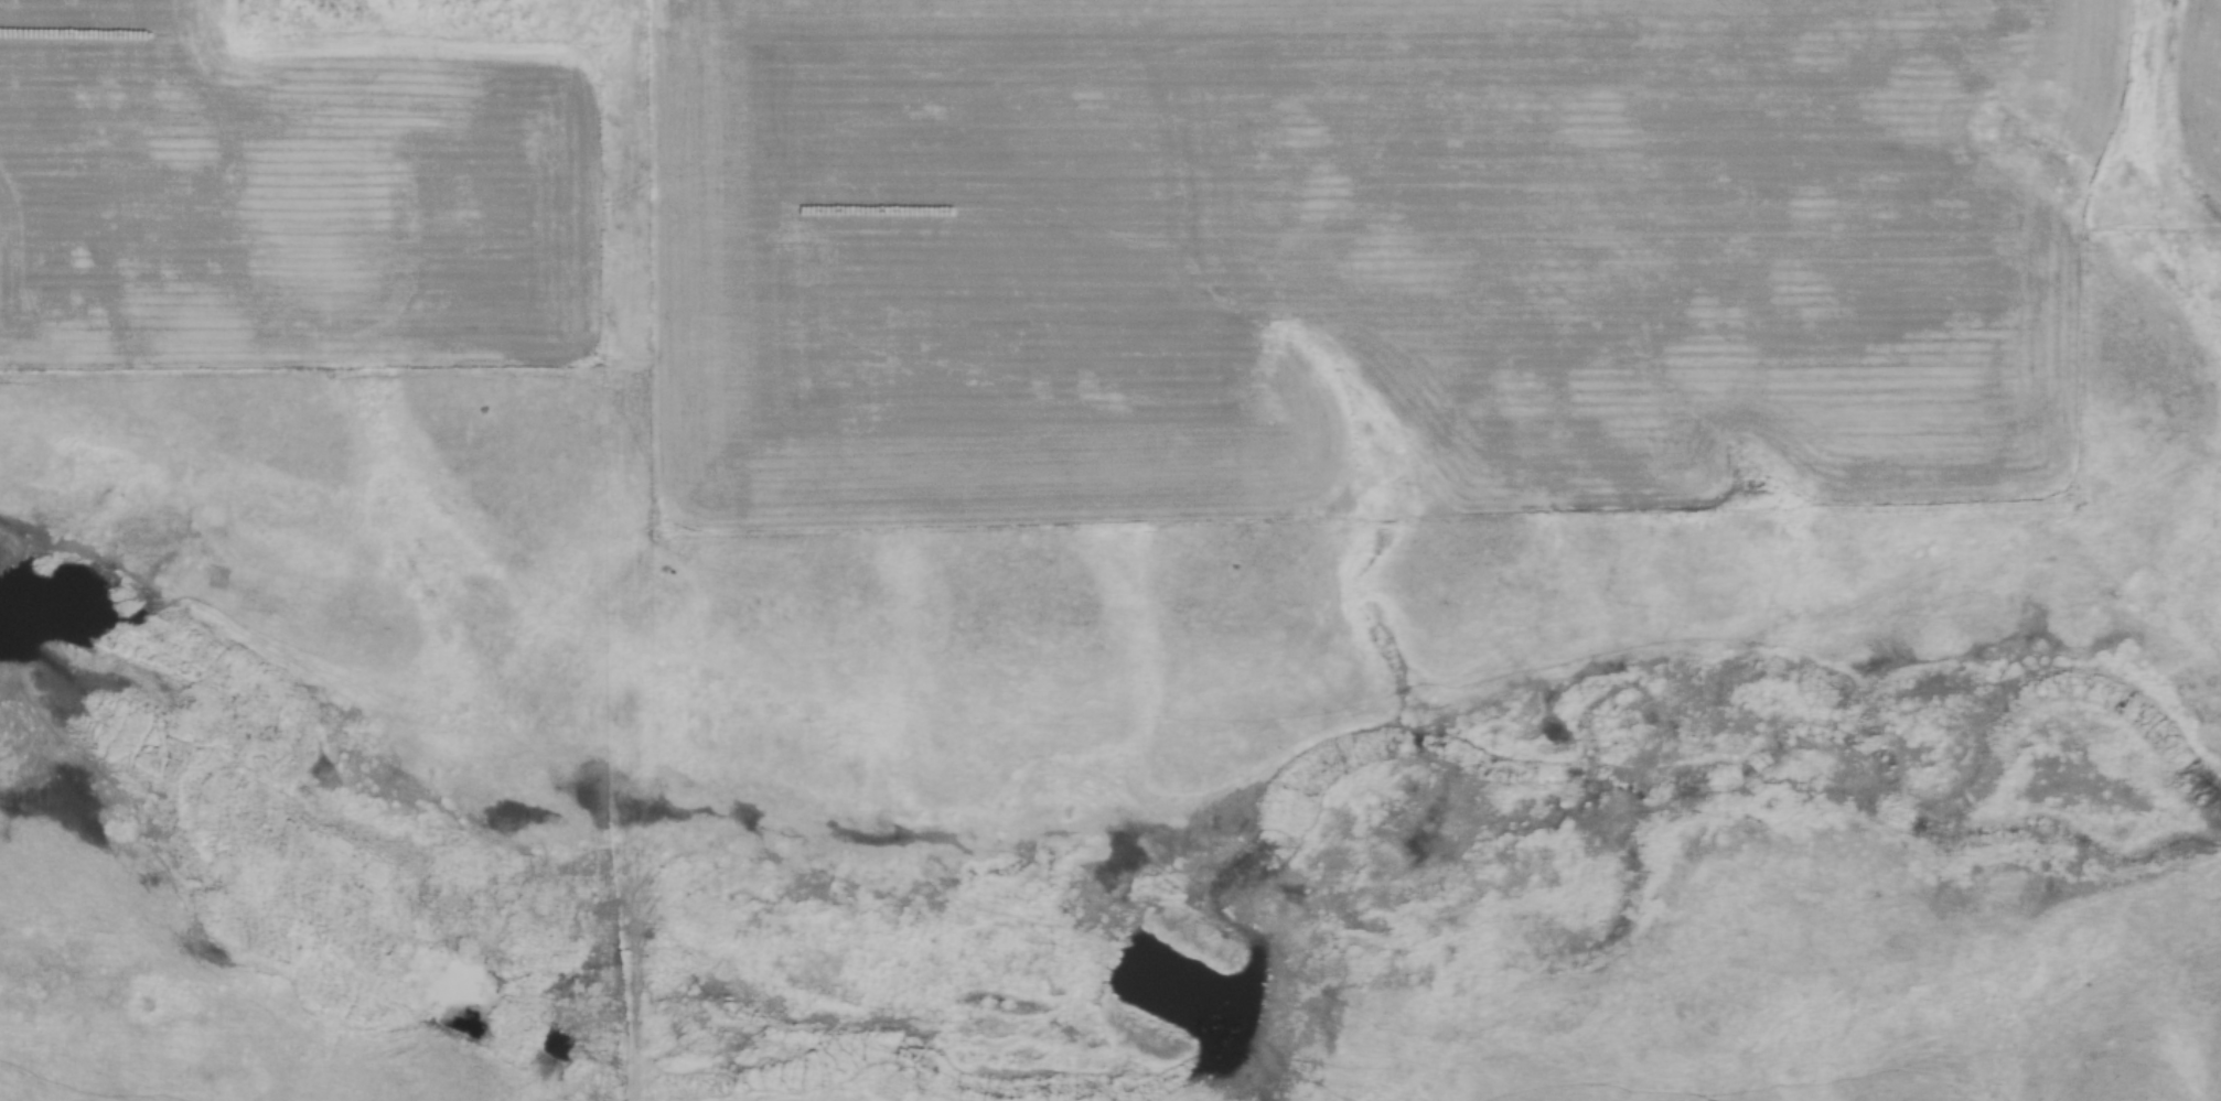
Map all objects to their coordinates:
road: (650, 550)

